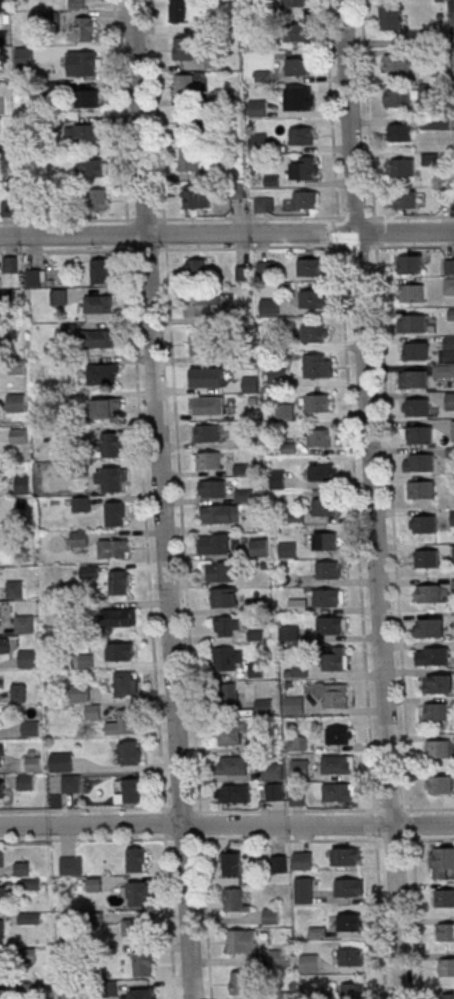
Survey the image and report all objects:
building: (79, 3)
building: (294, 3)
building: (2, 5)
building: (180, 10)
building: (391, 15)
building: (85, 28)
building: (298, 32)
building: (183, 48)
park: (453, 56)
building: (23, 57)
building: (83, 63)
building: (397, 63)
building: (297, 66)
building: (187, 86)
building: (87, 98)
building: (298, 98)
building: (398, 98)
building: (258, 107)
building: (435, 123)
building: (189, 126)
building: (401, 132)
building: (87, 133)
building: (303, 135)
building: (432, 158)
building: (189, 160)
building: (403, 166)
building: (92, 167)
building: (305, 167)
building: (196, 198)
building: (98, 199)
building: (307, 199)
building: (406, 199)
building: (264, 204)
building: (8, 208)
road: (227, 217)
road: (226, 233)
road: (226, 247)
building: (10, 264)
building: (410, 264)
building: (449, 266)
building: (310, 267)
building: (267, 268)
building: (198, 269)
building: (103, 271)
building: (244, 272)
building: (36, 277)
building: (449, 286)
building: (412, 293)
building: (59, 297)
building: (314, 299)
building: (99, 303)
building: (206, 305)
building: (270, 306)
building: (451, 313)
building: (412, 323)
building: (315, 333)
building: (99, 338)
building: (196, 343)
building: (449, 343)
building: (416, 350)
building: (319, 365)
building: (443, 370)
building: (103, 373)
building: (278, 376)
building: (207, 379)
building: (413, 379)
building: (450, 401)
building: (16, 402)
building: (318, 403)
building: (207, 406)
building: (417, 406)
building: (107, 408)
building: (285, 411)
building: (453, 431)
building: (206, 433)
building: (418, 434)
building: (323, 437)
building: (111, 444)
building: (207, 460)
building: (419, 462)
building: (324, 472)
building: (278, 478)
building: (112, 479)
building: (22, 485)
building: (213, 489)
building: (421, 490)
building: (245, 495)
road: (164, 499)
road: (181, 499)
road: (356, 499)
road: (375, 499)
road: (392, 499)
building: (82, 503)
building: (324, 506)
building: (116, 513)
building: (220, 515)
building: (424, 524)
building: (79, 538)
building: (327, 541)
building: (213, 544)
building: (259, 547)
building: (113, 548)
building: (288, 549)
building: (427, 558)
building: (330, 570)
building: (89, 572)
building: (219, 572)
building: (119, 582)
building: (14, 589)
building: (427, 593)
building: (224, 597)
building: (328, 597)
building: (298, 605)
building: (122, 617)
building: (25, 624)
building: (332, 625)
building: (227, 626)
building: (429, 627)
building: (289, 633)
building: (4, 645)
building: (120, 651)
building: (432, 656)
building: (27, 658)
building: (228, 658)
building: (335, 658)
building: (126, 683)
building: (438, 683)
building: (18, 693)
building: (79, 693)
building: (332, 694)
building: (228, 696)
building: (294, 706)
building: (434, 712)
building: (124, 723)
building: (31, 728)
building: (231, 733)
building: (339, 735)
building: (297, 745)
building: (439, 749)
building: (130, 753)
building: (2, 755)
building: (61, 763)
building: (31, 764)
building: (338, 765)
building: (233, 767)
building: (300, 768)
building: (273, 772)
building: (26, 782)
building: (71, 785)
building: (440, 785)
building: (2, 788)
building: (131, 791)
building: (339, 792)
building: (275, 793)
building: (235, 794)
road: (226, 809)
road: (226, 824)
road: (99, 838)
road: (326, 839)
building: (347, 856)
building: (2, 857)
building: (137, 859)
building: (303, 860)
building: (441, 862)
building: (231, 863)
building: (281, 863)
building: (71, 865)
building: (29, 884)
building: (350, 887)
building: (307, 890)
building: (139, 893)
building: (3, 894)
building: (444, 898)
building: (236, 899)
building: (271, 916)
building: (30, 918)
building: (351, 922)
building: (134, 927)
building: (2, 931)
building: (445, 931)
building: (241, 941)
building: (351, 956)
building: (281, 957)
building: (143, 963)
building: (310, 963)
building: (3, 966)
building: (447, 967)
building: (241, 982)
building: (354, 990)
building: (4, 993)
building: (146, 994)
building: (282, 995)
building: (448, 995)

